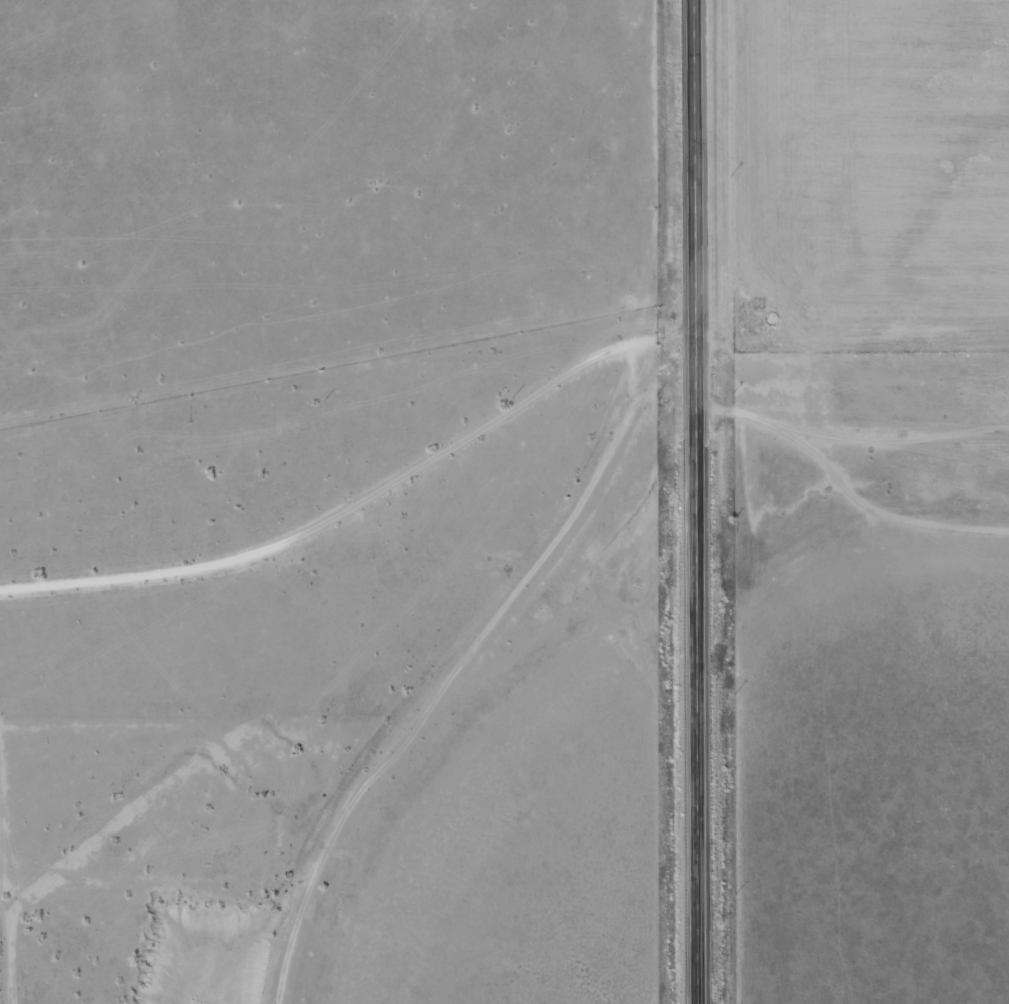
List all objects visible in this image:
road: (850, 437)
road: (693, 501)
road: (365, 553)
road: (484, 689)

